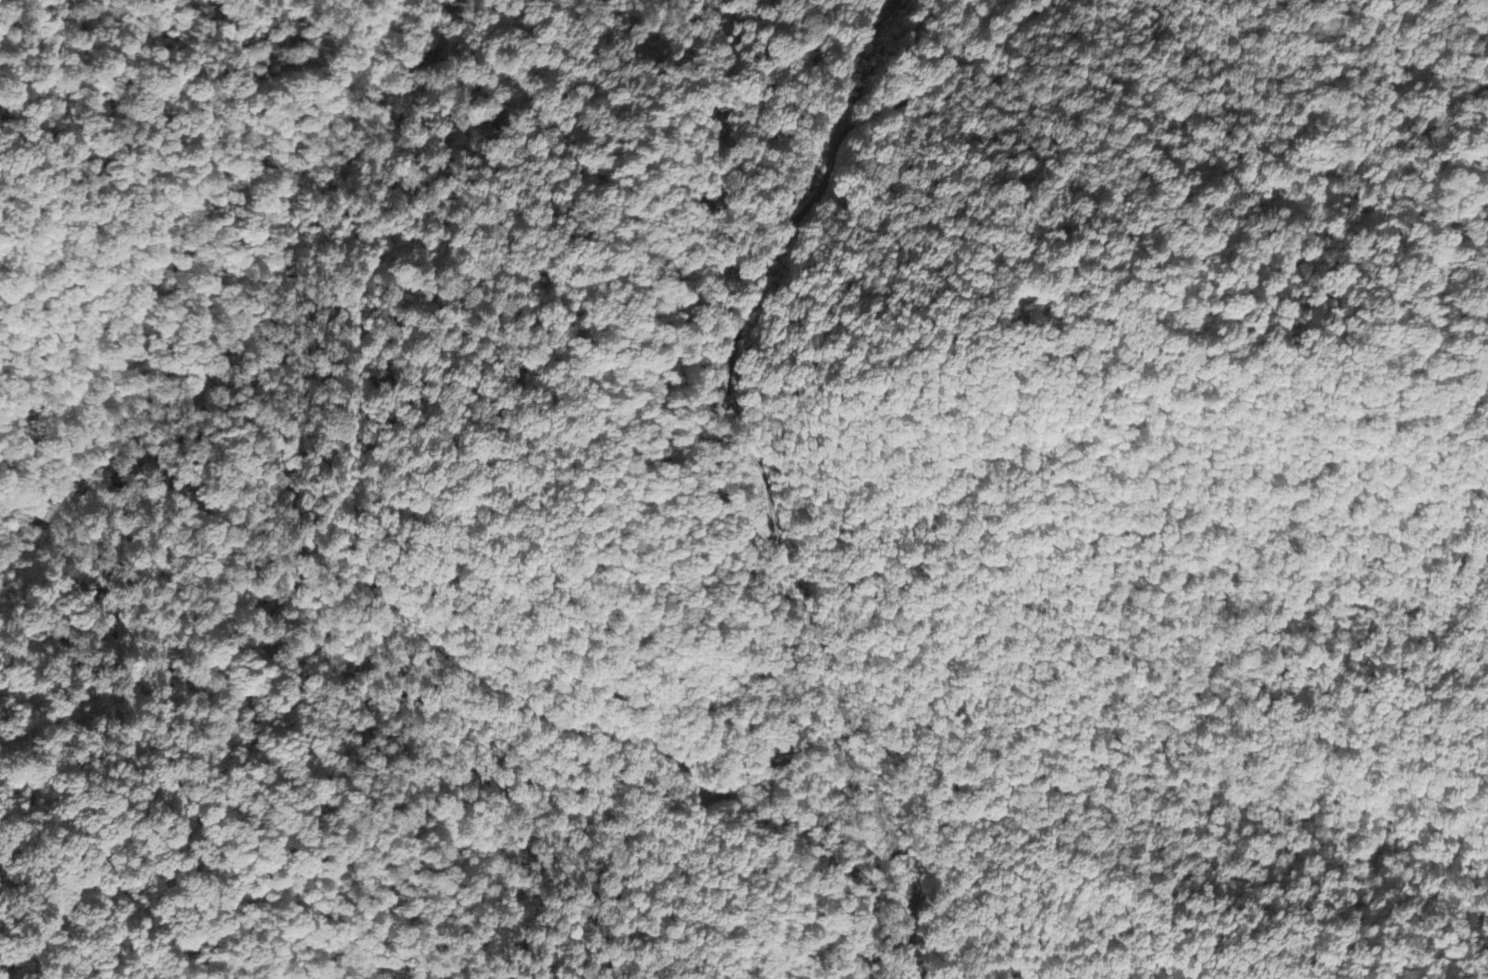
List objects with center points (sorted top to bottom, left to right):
road: (1252, 201)
road: (729, 339)
road: (680, 833)
road: (852, 882)

